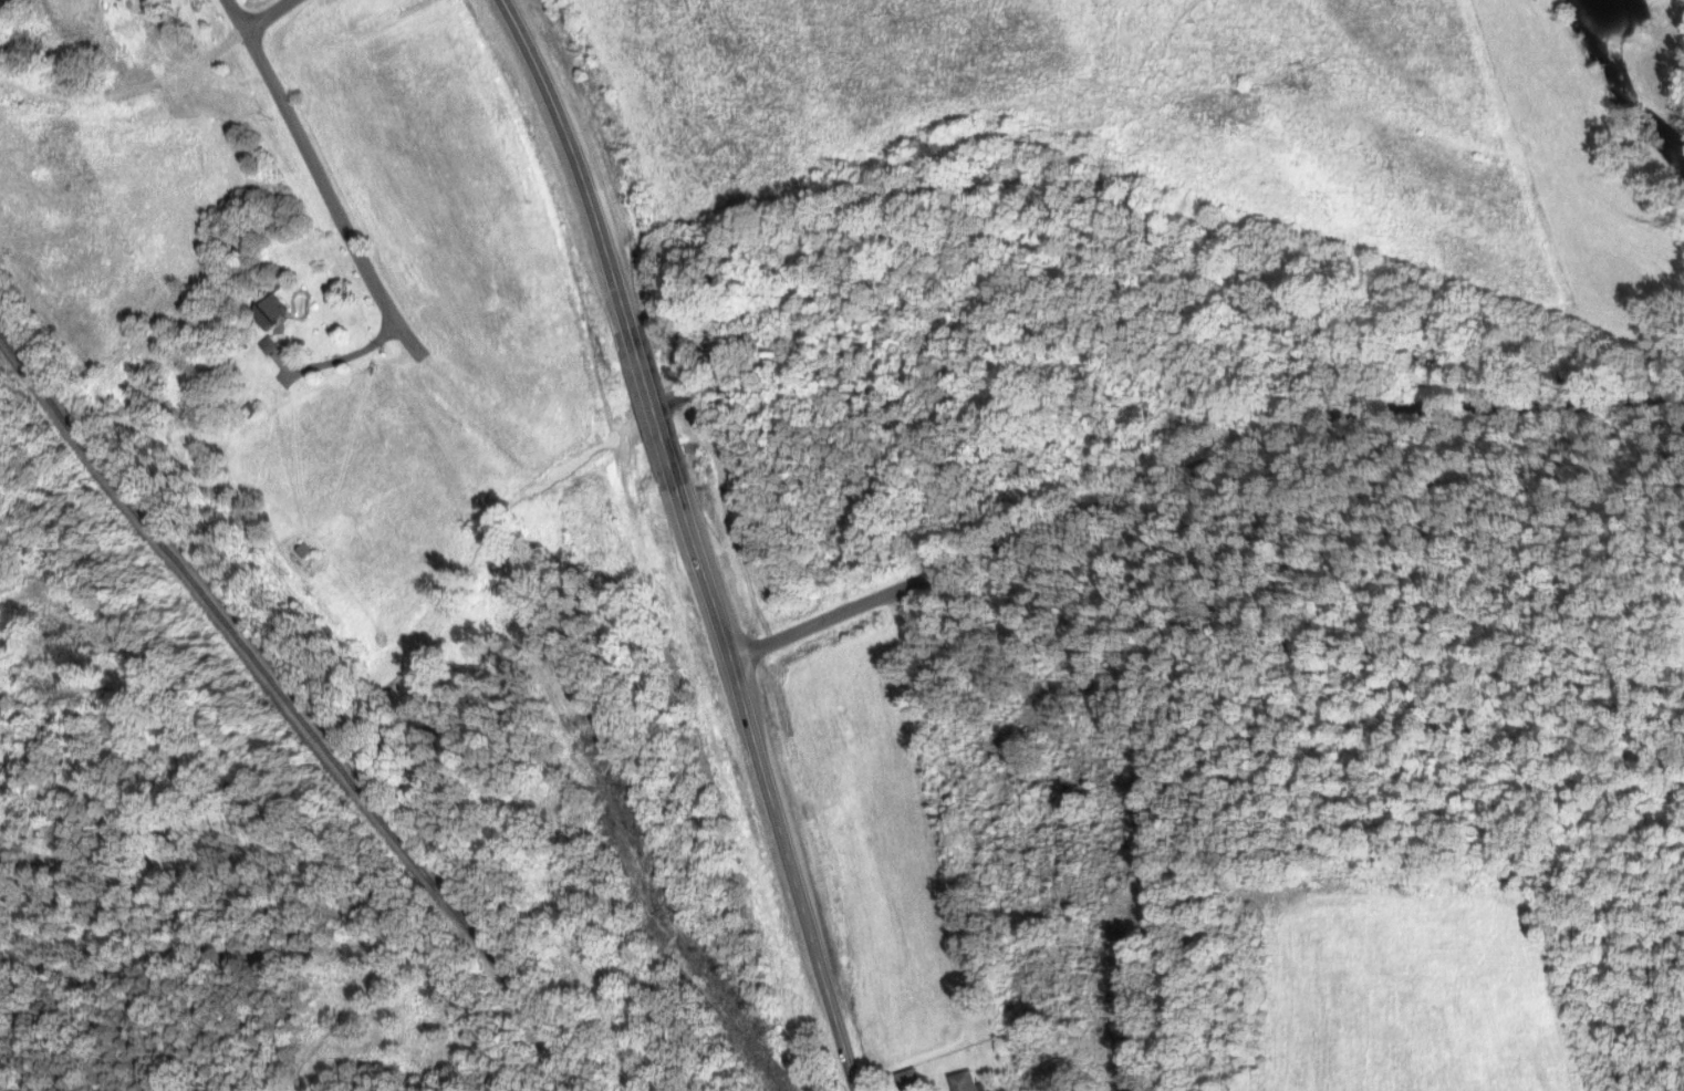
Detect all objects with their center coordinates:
road: (237, 13)
road: (266, 13)
road: (127, 85)
road: (326, 194)
building: (274, 306)
building: (268, 345)
road: (334, 357)
road: (1194, 475)
road: (694, 540)
railway: (290, 706)
building: (909, 1079)
building: (966, 1082)

